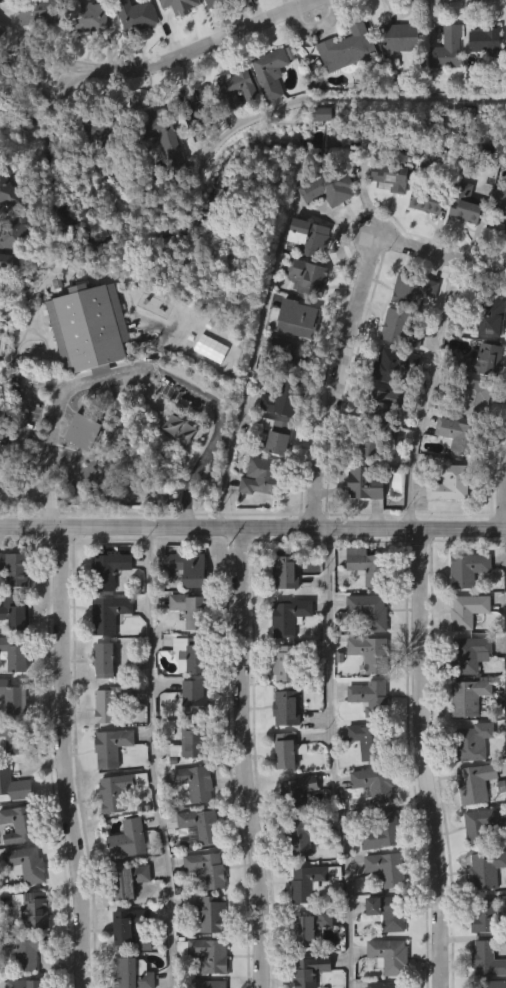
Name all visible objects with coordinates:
building: (218, 2)
building: (280, 3)
building: (245, 10)
building: (40, 12)
building: (137, 15)
building: (90, 16)
building: (211, 23)
building: (169, 25)
building: (0, 30)
building: (403, 37)
building: (488, 40)
building: (33, 44)
building: (129, 45)
building: (348, 46)
building: (85, 48)
road: (195, 48)
building: (447, 50)
building: (0, 61)
building: (395, 70)
building: (503, 70)
building: (273, 71)
building: (480, 72)
building: (343, 80)
building: (441, 81)
building: (236, 88)
building: (266, 104)
building: (198, 110)
building: (324, 116)
building: (232, 121)
building: (105, 128)
building: (163, 135)
road: (220, 136)
building: (316, 146)
building: (150, 155)
building: (92, 159)
building: (392, 177)
building: (330, 188)
building: (8, 190)
building: (430, 199)
building: (502, 202)
building: (467, 205)
building: (384, 210)
building: (325, 220)
building: (16, 231)
building: (421, 233)
building: (497, 234)
building: (459, 235)
building: (312, 236)
road: (448, 248)
building: (8, 264)
building: (310, 277)
building: (416, 290)
building: (6, 294)
building: (303, 307)
building: (490, 315)
road: (262, 320)
building: (402, 329)
building: (289, 355)
building: (84, 360)
building: (481, 360)
building: (396, 366)
road: (139, 368)
road: (342, 373)
building: (282, 386)
road: (427, 388)
building: (474, 395)
building: (283, 400)
building: (386, 403)
road: (24, 416)
building: (274, 436)
building: (461, 436)
building: (376, 441)
building: (449, 466)
building: (262, 477)
building: (452, 483)
building: (366, 484)
building: (254, 508)
road: (504, 508)
road: (52, 512)
road: (187, 512)
building: (446, 515)
building: (358, 516)
road: (253, 524)
building: (191, 566)
building: (371, 567)
building: (13, 568)
building: (470, 569)
building: (110, 570)
building: (287, 571)
building: (103, 602)
building: (280, 604)
building: (192, 607)
building: (16, 609)
building: (371, 609)
building: (470, 609)
building: (111, 613)
building: (290, 614)
building: (284, 648)
building: (15, 652)
building: (372, 652)
building: (189, 653)
building: (470, 653)
building: (106, 659)
building: (288, 662)
building: (364, 686)
building: (99, 692)
building: (279, 695)
building: (472, 695)
building: (372, 696)
building: (16, 697)
building: (195, 697)
building: (112, 701)
building: (288, 707)
building: (189, 729)
building: (463, 729)
building: (104, 734)
building: (14, 737)
building: (371, 740)
building: (474, 742)
building: (288, 749)
road: (67, 756)
road: (160, 757)
road: (245, 757)
road: (425, 757)
road: (341, 758)
building: (359, 771)
building: (468, 773)
building: (106, 778)
building: (196, 782)
building: (282, 782)
building: (477, 782)
building: (376, 783)
building: (15, 785)
building: (120, 789)
building: (299, 790)
building: (190, 814)
building: (469, 814)
building: (369, 815)
building: (293, 821)
building: (113, 822)
building: (19, 824)
building: (201, 824)
building: (484, 825)
building: (384, 831)
building: (304, 835)
building: (129, 838)
building: (477, 855)
building: (27, 863)
building: (389, 868)
building: (208, 869)
building: (487, 869)
building: (129, 880)
building: (309, 881)
building: (21, 895)
building: (483, 899)
building: (32, 908)
building: (388, 911)
building: (123, 912)
building: (213, 913)
building: (302, 913)
building: (487, 917)
building: (128, 924)
building: (311, 927)
building: (504, 933)
building: (30, 950)
building: (207, 953)
building: (391, 955)
building: (122, 956)
building: (304, 959)
building: (488, 960)
road: (0, 967)
building: (311, 970)
building: (133, 973)
building: (478, 979)
building: (29, 983)
building: (212, 984)
building: (492, 984)
building: (387, 985)

